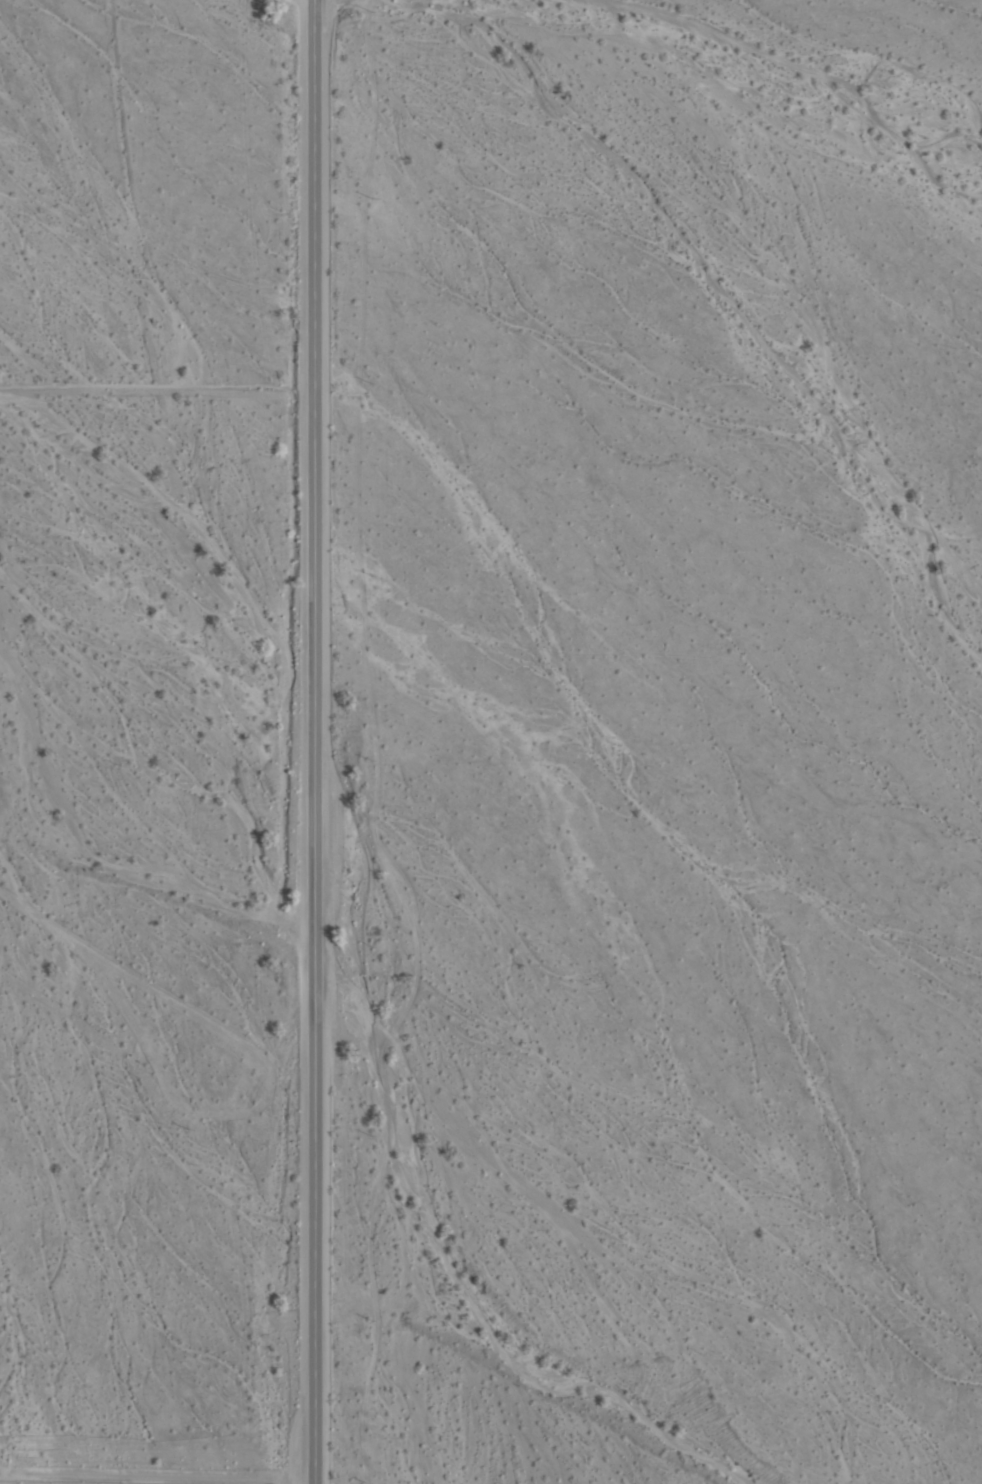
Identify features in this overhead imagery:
road: (321, 742)

